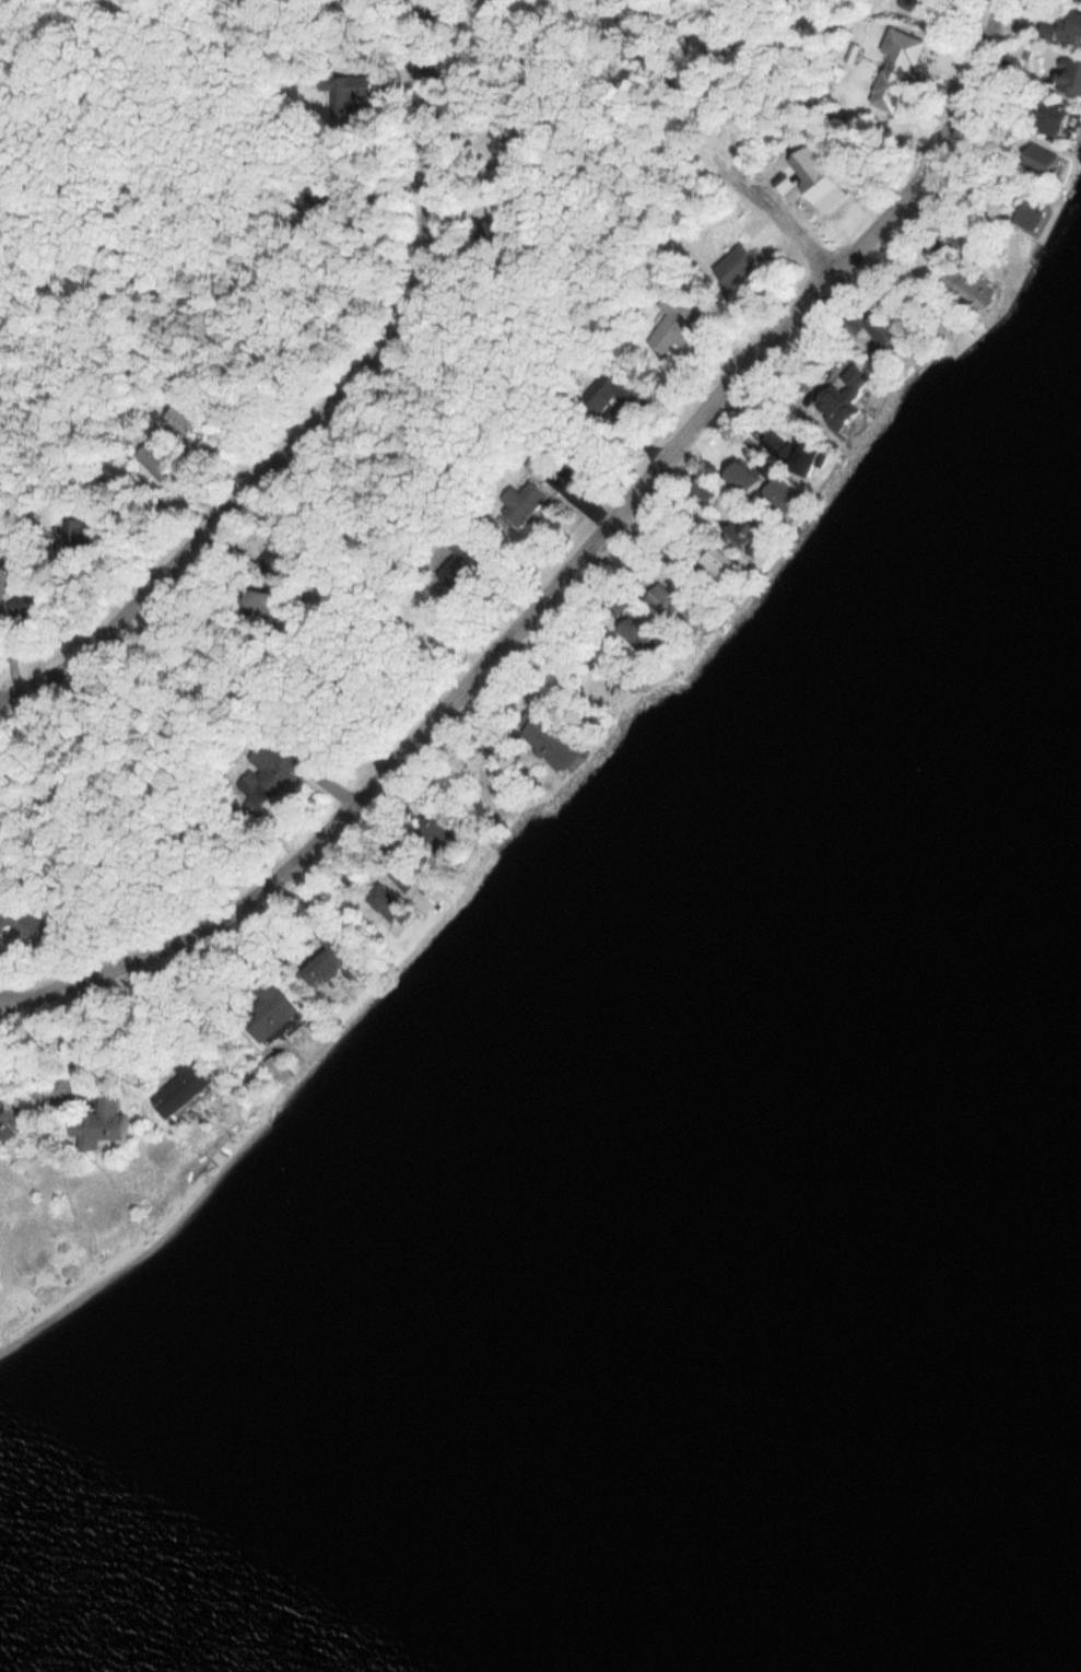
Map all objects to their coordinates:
building: (1068, 26)
building: (894, 70)
building: (1068, 78)
building: (341, 92)
building: (1045, 118)
building: (1036, 159)
building: (1025, 215)
road: (786, 217)
building: (495, 227)
building: (733, 266)
building: (962, 285)
building: (940, 314)
building: (671, 323)
building: (871, 327)
building: (611, 388)
building: (838, 396)
road: (328, 412)
building: (178, 419)
building: (153, 457)
building: (537, 461)
building: (739, 476)
building: (777, 495)
building: (520, 500)
building: (459, 559)
building: (714, 561)
road: (565, 574)
building: (660, 597)
building: (252, 598)
building: (16, 604)
building: (690, 608)
building: (547, 740)
building: (268, 772)
building: (431, 820)
building: (386, 904)
building: (17, 922)
building: (327, 935)
building: (312, 968)
building: (265, 1008)
building: (178, 1085)
building: (9, 1123)
building: (96, 1123)

